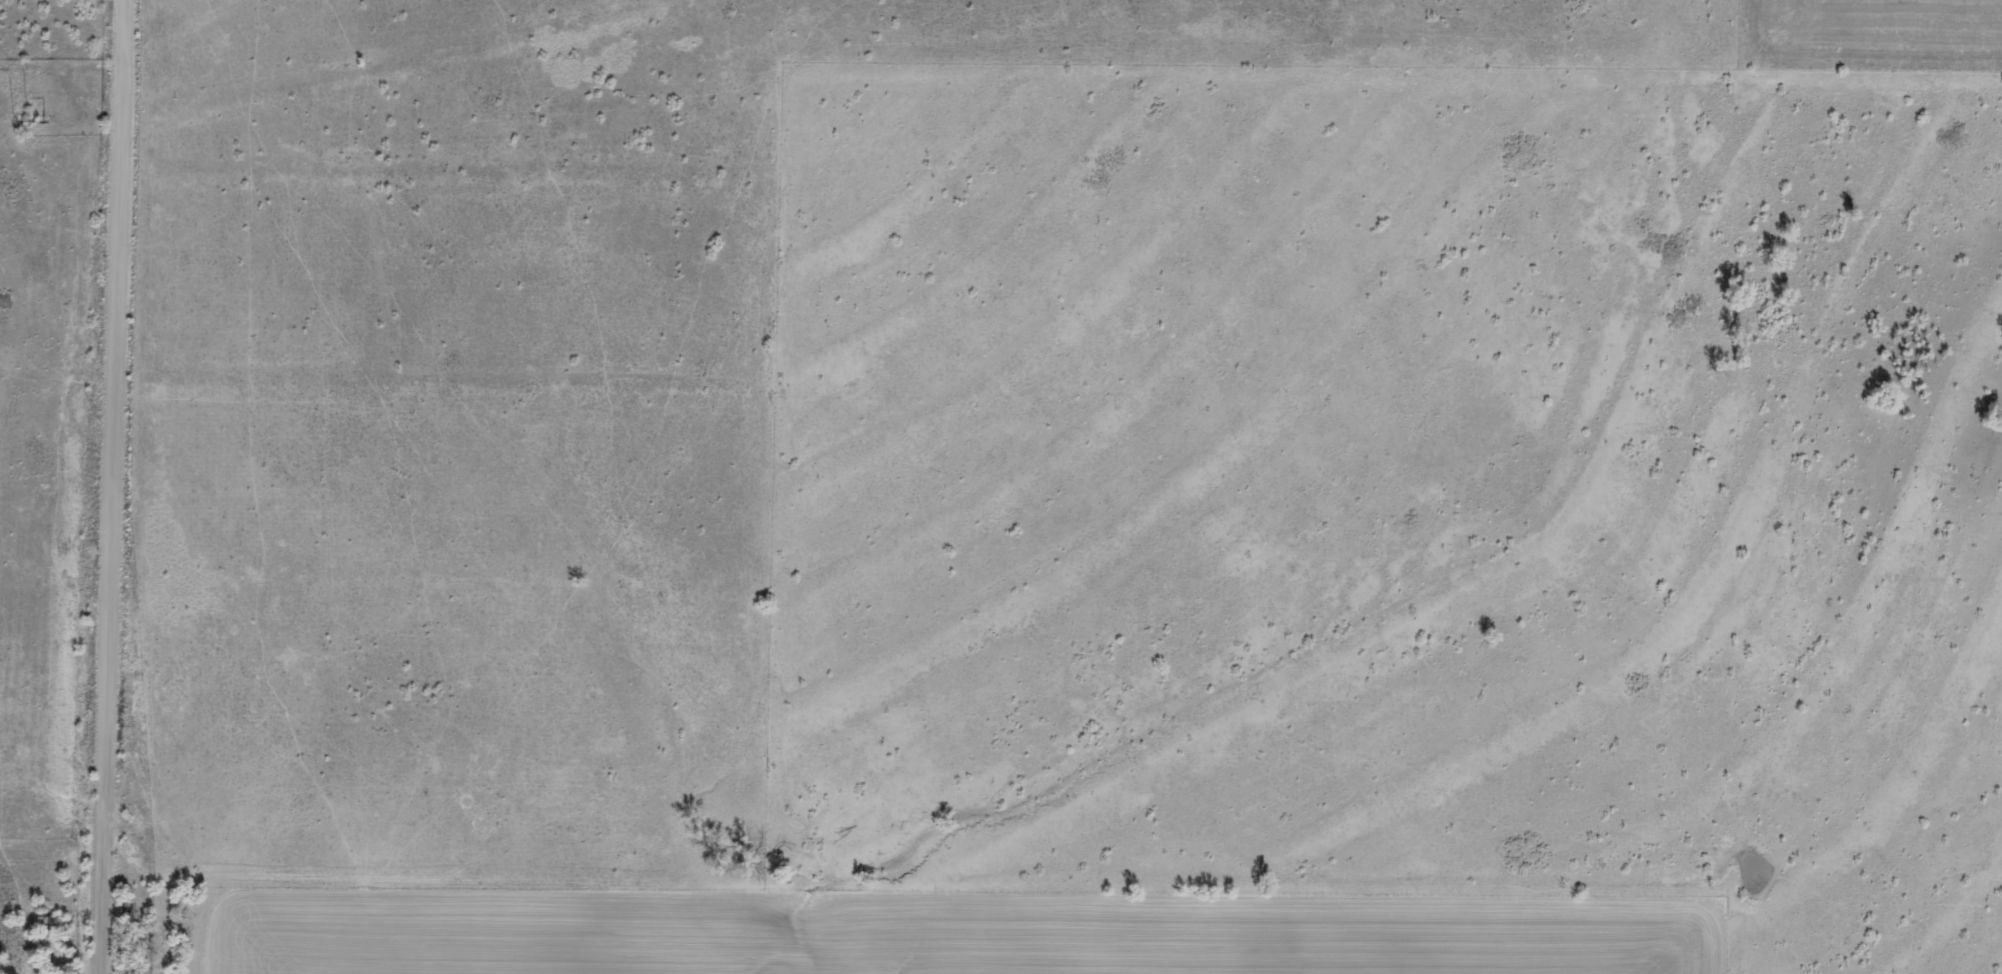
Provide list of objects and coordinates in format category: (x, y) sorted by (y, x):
road: (112, 486)

